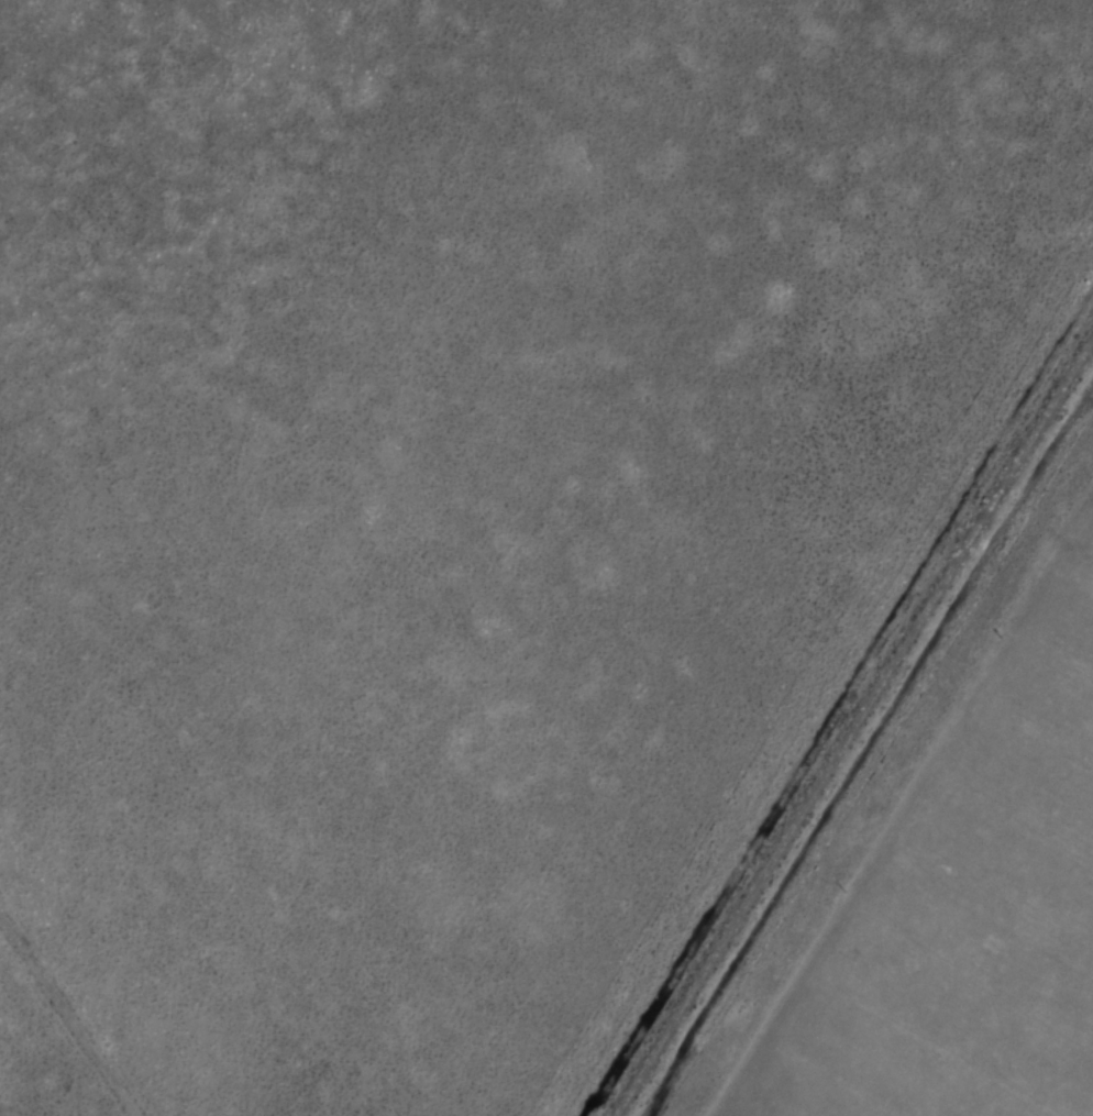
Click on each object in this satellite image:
road: (866, 747)

